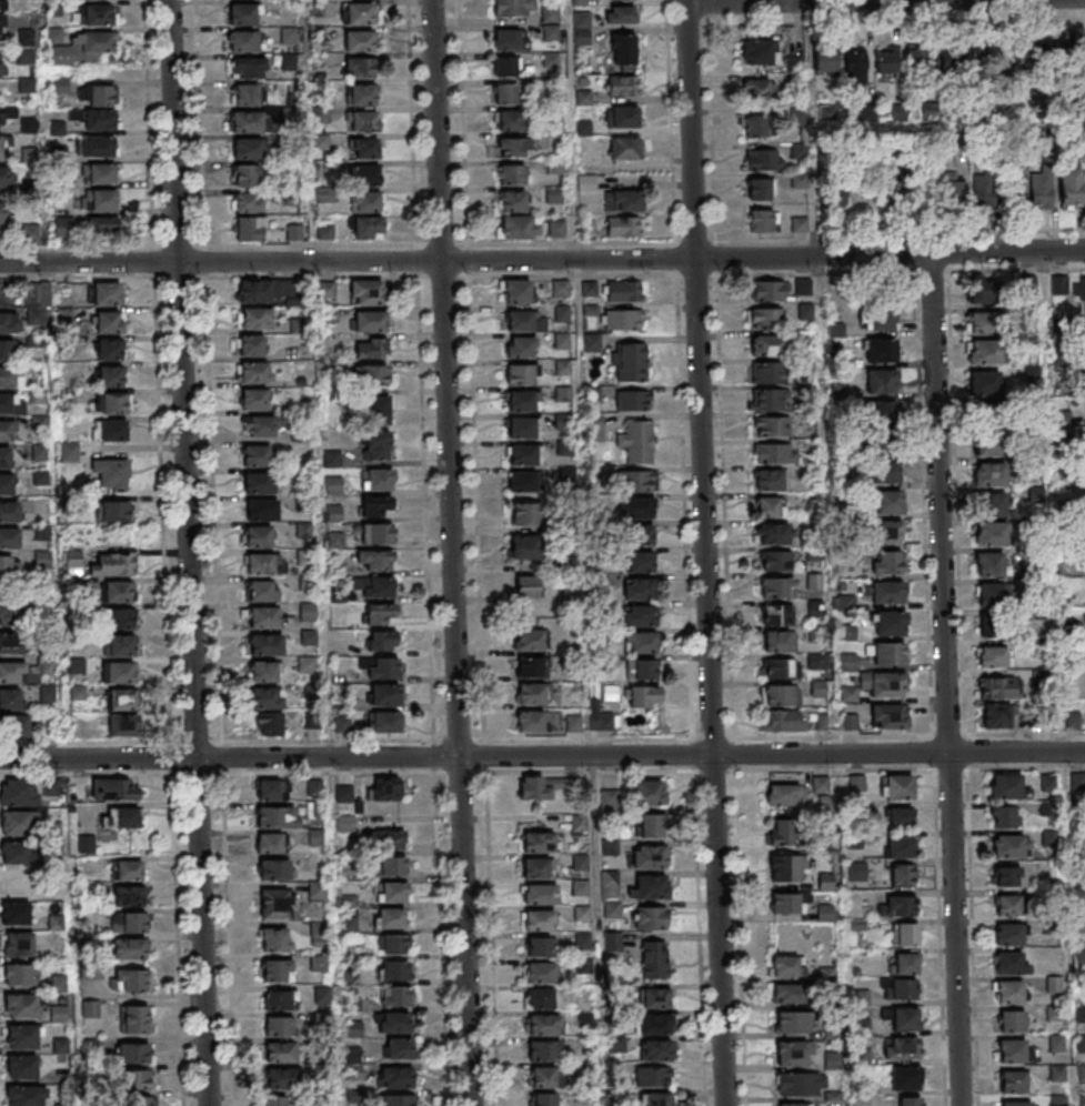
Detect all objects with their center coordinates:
building: (580, 1)
road: (683, 2)
road: (895, 2)
road: (694, 3)
building: (356, 12)
road: (705, 12)
building: (242, 13)
building: (99, 14)
building: (621, 14)
building: (1, 18)
road: (895, 20)
building: (550, 21)
building: (581, 28)
building: (506, 39)
building: (242, 40)
building: (358, 40)
building: (78, 47)
building: (621, 51)
building: (759, 52)
building: (916, 53)
building: (996, 59)
building: (1039, 59)
building: (956, 60)
building: (886, 61)
building: (825, 62)
building: (0, 63)
building: (855, 63)
building: (792, 64)
building: (248, 67)
building: (359, 67)
building: (504, 67)
building: (622, 84)
building: (757, 88)
building: (361, 93)
building: (505, 93)
building: (101, 94)
building: (247, 94)
building: (7, 113)
building: (627, 117)
building: (98, 119)
building: (509, 119)
building: (245, 121)
building: (362, 121)
road: (147, 123)
building: (757, 125)
road: (308, 130)
road: (711, 132)
building: (4, 145)
building: (96, 147)
building: (515, 147)
building: (247, 148)
building: (365, 148)
building: (625, 148)
building: (764, 159)
building: (97, 173)
building: (513, 173)
building: (247, 174)
building: (366, 174)
building: (4, 178)
building: (798, 181)
building: (1071, 188)
building: (760, 189)
building: (951, 190)
building: (998, 193)
building: (1042, 193)
building: (838, 195)
building: (99, 199)
building: (622, 200)
building: (248, 201)
building: (365, 201)
building: (512, 201)
building: (2, 219)
building: (763, 220)
building: (800, 223)
building: (102, 225)
building: (624, 225)
building: (519, 227)
building: (63, 228)
building: (250, 228)
building: (364, 228)
building: (556, 228)
road: (900, 238)
road: (888, 255)
road: (202, 258)
road: (345, 261)
road: (152, 262)
building: (561, 288)
building: (1027, 288)
building: (1079, 288)
building: (324, 290)
building: (623, 290)
building: (366, 291)
building: (514, 291)
building: (767, 291)
building: (982, 291)
building: (253, 292)
building: (3, 294)
building: (108, 295)
building: (562, 313)
building: (33, 316)
building: (324, 316)
building: (763, 318)
building: (254, 319)
building: (622, 319)
building: (881, 320)
building: (109, 321)
building: (365, 322)
building: (515, 322)
building: (985, 322)
building: (4, 324)
building: (294, 326)
building: (592, 341)
building: (766, 344)
building: (250, 346)
building: (109, 348)
building: (371, 348)
building: (516, 348)
building: (881, 350)
building: (6, 351)
building: (984, 352)
building: (629, 361)
building: (563, 366)
building: (761, 372)
building: (251, 373)
building: (109, 375)
building: (369, 375)
building: (516, 375)
building: (6, 378)
building: (882, 380)
building: (984, 382)
building: (592, 394)
building: (36, 398)
building: (252, 400)
building: (633, 400)
building: (763, 401)
building: (111, 402)
building: (516, 402)
building: (4, 404)
building: (378, 409)
building: (883, 414)
building: (985, 414)
building: (563, 421)
building: (37, 424)
building: (262, 425)
building: (771, 425)
building: (594, 426)
building: (518, 429)
building: (3, 431)
building: (110, 431)
building: (373, 442)
building: (637, 442)
building: (992, 444)
building: (67, 451)
building: (37, 453)
building: (776, 453)
building: (520, 455)
building: (254, 456)
building: (4, 458)
building: (330, 460)
building: (887, 467)
building: (109, 473)
building: (988, 475)
building: (38, 477)
building: (768, 479)
building: (375, 481)
building: (635, 481)
building: (520, 482)
building: (6, 483)
building: (255, 484)
building: (331, 487)
building: (888, 503)
building: (302, 504)
building: (992, 504)
building: (372, 506)
building: (766, 506)
building: (635, 507)
building: (260, 511)
building: (112, 512)
building: (8, 513)
building: (522, 515)
building: (302, 531)
building: (887, 532)
building: (40, 533)
building: (636, 533)
building: (774, 533)
building: (378, 534)
building: (991, 534)
road: (161, 535)
building: (257, 537)
building: (8, 540)
building: (333, 541)
building: (521, 549)
road: (188, 553)
road: (450, 553)
road: (704, 554)
building: (303, 559)
building: (40, 560)
building: (71, 560)
building: (775, 560)
building: (637, 561)
building: (376, 562)
building: (886, 562)
building: (991, 563)
building: (9, 565)
building: (115, 565)
building: (258, 565)
building: (303, 584)
building: (71, 586)
building: (525, 586)
building: (776, 586)
building: (372, 587)
building: (639, 587)
building: (258, 592)
building: (884, 592)
building: (114, 593)
building: (991, 594)
building: (304, 612)
building: (379, 613)
building: (776, 614)
building: (637, 615)
building: (9, 616)
building: (260, 619)
building: (117, 620)
building: (890, 623)
building: (994, 625)
building: (851, 634)
building: (305, 637)
building: (379, 639)
building: (74, 640)
building: (528, 641)
building: (778, 641)
building: (640, 642)
building: (10, 644)
building: (264, 645)
building: (119, 646)
building: (887, 653)
building: (992, 655)
building: (848, 662)
building: (304, 665)
building: (43, 666)
building: (74, 667)
building: (525, 668)
building: (642, 668)
building: (776, 668)
building: (381, 670)
building: (9, 673)
building: (261, 673)
building: (118, 674)
road: (944, 680)
building: (877, 685)
building: (996, 687)
road: (218, 688)
building: (310, 692)
building: (44, 694)
building: (76, 694)
building: (529, 694)
building: (382, 695)
building: (644, 695)
building: (781, 695)
building: (267, 697)
building: (121, 698)
building: (8, 701)
building: (339, 703)
building: (888, 715)
building: (996, 715)
building: (600, 716)
building: (783, 720)
building: (850, 721)
building: (310, 722)
building: (528, 722)
building: (573, 722)
building: (383, 723)
building: (270, 724)
building: (124, 725)
building: (340, 725)
building: (12, 727)
building: (47, 728)
road: (542, 756)
building: (1005, 785)
building: (533, 786)
building: (896, 786)
building: (314, 787)
building: (271, 788)
building: (114, 790)
building: (384, 790)
building: (650, 791)
building: (18, 792)
building: (344, 794)
building: (784, 794)
building: (118, 816)
building: (277, 816)
building: (900, 816)
building: (1005, 816)
building: (18, 822)
building: (579, 822)
building: (652, 824)
building: (780, 832)
building: (386, 838)
building: (538, 839)
building: (268, 842)
building: (1011, 845)
building: (900, 846)
building: (13, 852)
building: (650, 856)
building: (580, 862)
building: (393, 865)
building: (538, 866)
building: (785, 867)
building: (275, 868)
building: (127, 869)
building: (856, 872)
building: (903, 875)
building: (1007, 875)
building: (609, 883)
building: (580, 886)
building: (651, 887)
building: (317, 892)
building: (392, 892)
building: (540, 893)
building: (128, 895)
building: (787, 903)
building: (273, 904)
building: (1007, 904)
building: (901, 905)
building: (612, 908)
building: (14, 912)
building: (582, 913)
building: (391, 917)
building: (650, 917)
building: (538, 919)
building: (134, 922)
road: (174, 924)
building: (905, 933)
building: (1008, 934)
building: (274, 938)
building: (612, 942)
building: (17, 943)
building: (393, 944)
building: (539, 946)
building: (129, 948)
building: (654, 959)
building: (318, 963)
building: (906, 963)
building: (1011, 963)
building: (787, 966)
building: (275, 969)
building: (393, 969)
building: (540, 972)
building: (21, 974)
building: (129, 979)
building: (900, 988)
building: (1009, 991)
building: (790, 993)
building: (322, 994)
building: (396, 995)
building: (655, 997)
building: (862, 997)
building: (540, 998)
building: (279, 999)
building: (21, 1005)
building: (58, 1013)
building: (133, 1018)
building: (903, 1018)
building: (1012, 1020)
building: (393, 1022)
building: (792, 1022)
building: (656, 1023)
building: (543, 1024)
building: (279, 1026)
building: (22, 1036)
building: (1082, 1043)
building: (902, 1047)
building: (398, 1048)
building: (544, 1049)
building: (655, 1049)
building: (1012, 1049)
building: (132, 1052)
building: (279, 1052)
building: (791, 1052)
building: (22, 1067)
building: (655, 1075)
building: (395, 1076)
building: (542, 1076)
building: (280, 1077)
building: (906, 1077)
building: (138, 1078)
building: (1013, 1082)
building: (802, 1083)
building: (27, 1095)
building: (543, 1098)
building: (659, 1098)
building: (398, 1099)
building: (138, 1100)
building: (274, 1100)
building: (910, 1100)
building: (1018, 1103)
building: (794, 1104)
building: (62, 1105)

